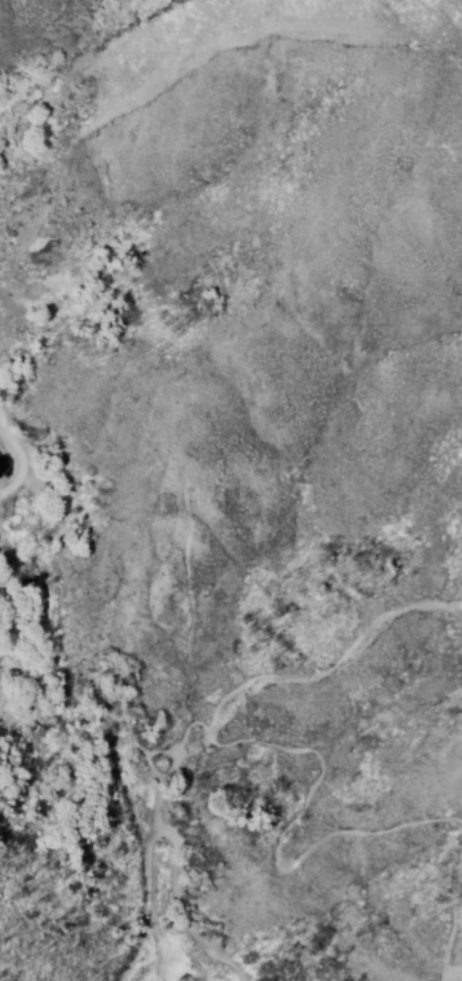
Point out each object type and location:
road: (14, 605)
road: (327, 676)
road: (103, 690)
road: (315, 794)
road: (162, 836)
road: (450, 912)
road: (448, 972)
road: (460, 974)

